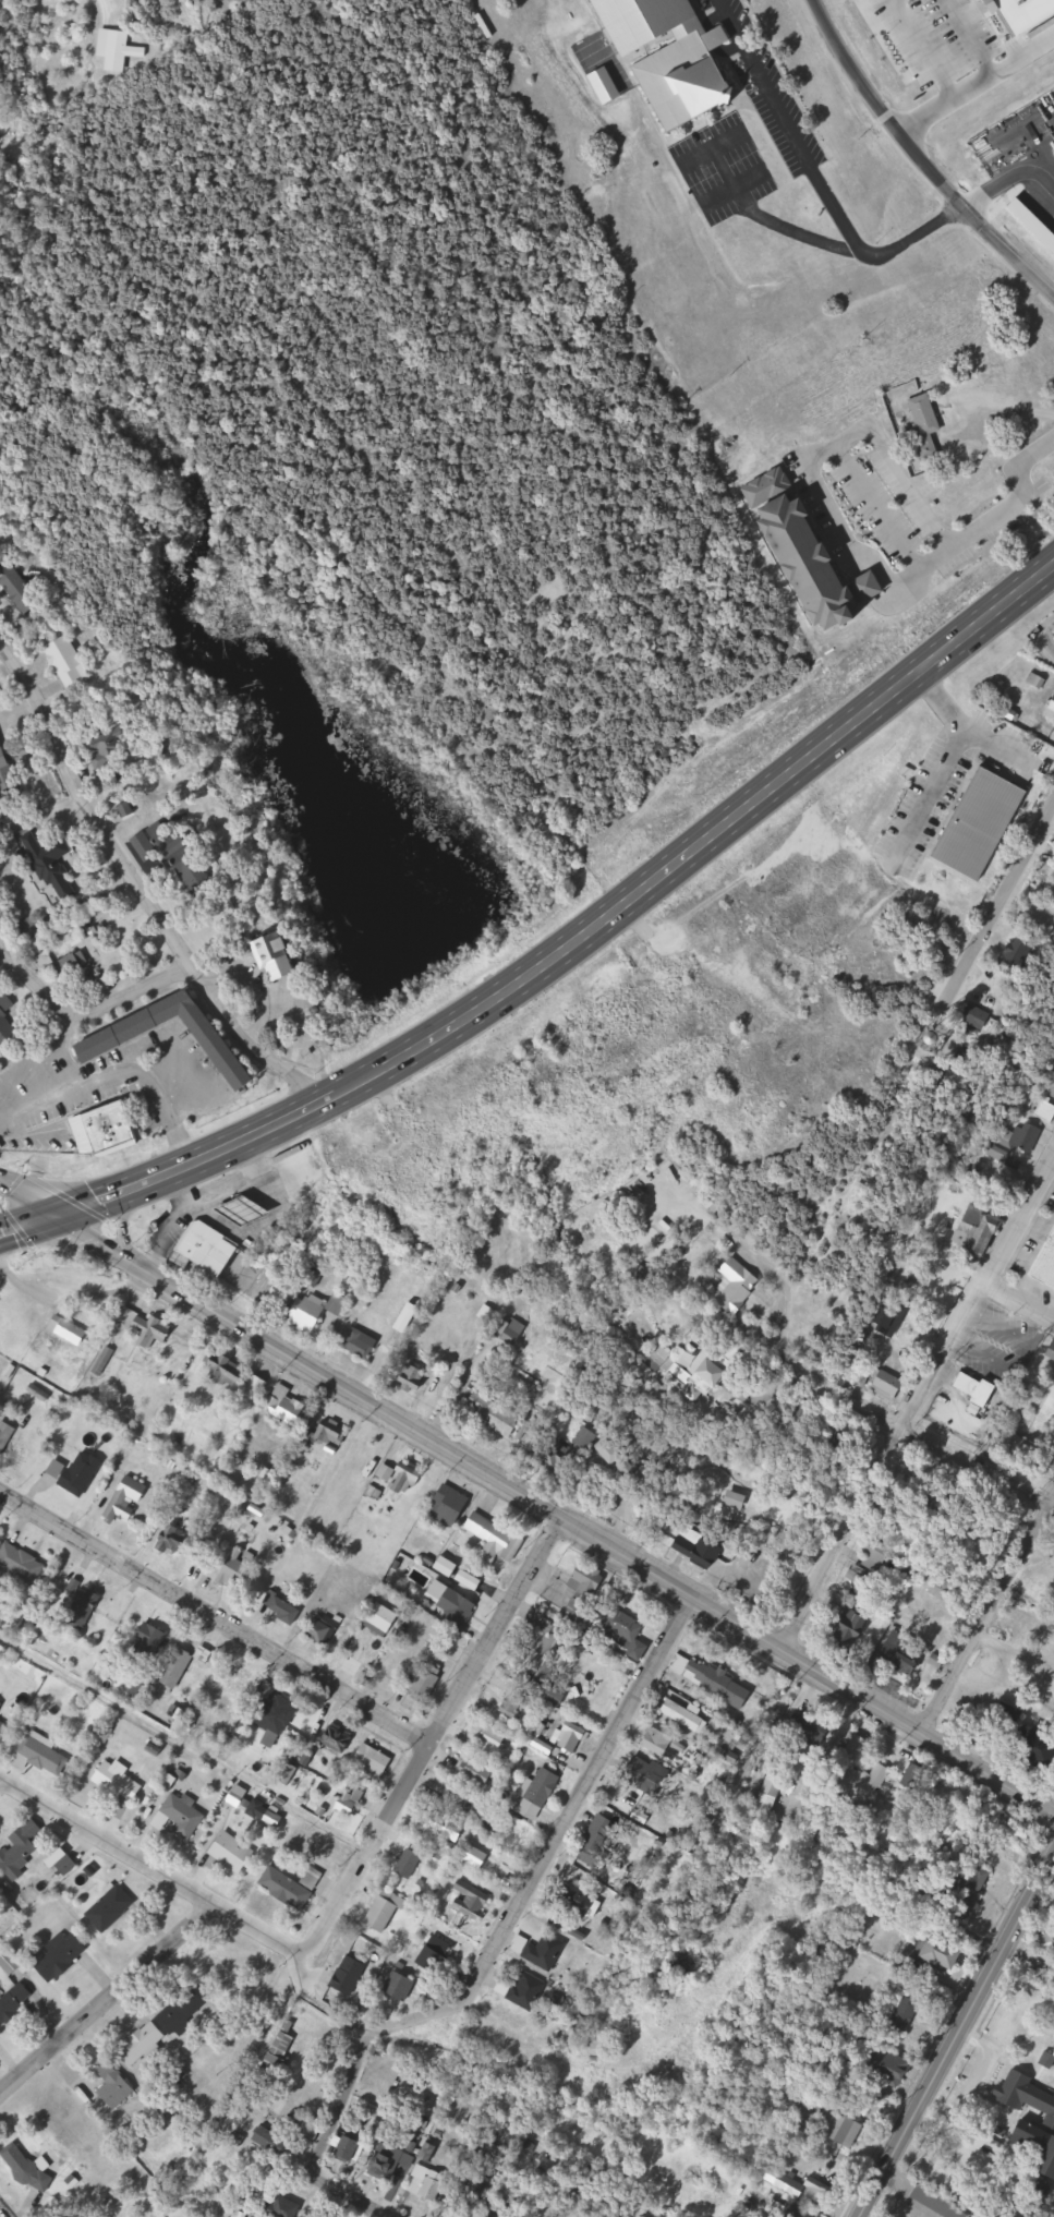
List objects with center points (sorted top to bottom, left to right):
road: (97, 5)
building: (1021, 14)
building: (576, 43)
building: (117, 49)
building: (674, 56)
road: (923, 156)
building: (926, 423)
building: (800, 555)
building: (22, 590)
building: (71, 663)
building: (1053, 708)
building: (113, 747)
building: (7, 759)
road: (820, 763)
building: (983, 823)
building: (174, 858)
building: (58, 870)
road: (146, 885)
road: (1005, 901)
building: (1026, 953)
building: (278, 959)
building: (76, 966)
road: (86, 1017)
building: (985, 1017)
building: (8, 1022)
building: (135, 1029)
building: (1047, 1111)
road: (304, 1118)
building: (114, 1131)
building: (1025, 1136)
road: (28, 1200)
building: (239, 1215)
gas station: (239, 1215)
traffic signals: (57, 1217)
road: (123, 1222)
building: (972, 1224)
building: (199, 1251)
building: (1047, 1267)
building: (738, 1287)
road: (1022, 1290)
building: (935, 1292)
road: (978, 1293)
building: (316, 1310)
building: (70, 1332)
building: (512, 1332)
building: (154, 1333)
building: (1020, 1337)
building: (363, 1345)
building: (654, 1364)
building: (1050, 1366)
building: (230, 1373)
building: (701, 1376)
building: (891, 1386)
building: (257, 1387)
road: (455, 1389)
building: (979, 1389)
building: (289, 1406)
building: (493, 1417)
building: (332, 1435)
road: (906, 1435)
building: (7, 1436)
building: (594, 1444)
building: (359, 1450)
building: (1019, 1453)
building: (76, 1474)
building: (638, 1474)
building: (405, 1479)
building: (126, 1501)
building: (739, 1501)
building: (450, 1506)
road: (555, 1513)
building: (497, 1538)
building: (174, 1541)
road: (844, 1542)
building: (700, 1547)
building: (204, 1550)
building: (22, 1566)
building: (234, 1575)
building: (586, 1581)
building: (867, 1582)
building: (86, 1603)
building: (457, 1607)
building: (283, 1608)
road: (216, 1612)
building: (576, 1612)
road: (992, 1615)
building: (383, 1620)
building: (848, 1622)
building: (623, 1629)
building: (320, 1630)
building: (149, 1643)
building: (552, 1646)
building: (900, 1656)
building: (179, 1668)
building: (426, 1682)
building: (720, 1684)
building: (550, 1692)
building: (1, 1706)
building: (513, 1707)
building: (272, 1711)
building: (689, 1715)
building: (812, 1726)
building: (4, 1731)
road: (432, 1735)
building: (338, 1739)
building: (572, 1739)
building: (493, 1744)
building: (665, 1745)
building: (859, 1748)
building: (1052, 1749)
building: (45, 1757)
building: (374, 1760)
building: (476, 1773)
building: (649, 1774)
building: (861, 1780)
building: (120, 1782)
road: (2, 1784)
building: (543, 1787)
building: (462, 1796)
building: (350, 1800)
building: (182, 1817)
building: (603, 1831)
road: (555, 1845)
building: (22, 1849)
building: (234, 1854)
building: (65, 1863)
building: (410, 1863)
road: (150, 1865)
building: (292, 1887)
building: (970, 1892)
building: (473, 1893)
building: (583, 1901)
building: (111, 1908)
building: (386, 1911)
building: (1050, 1943)
building: (543, 1951)
building: (947, 1954)
building: (62, 1955)
building: (436, 1956)
building: (351, 1976)
building: (404, 1989)
building: (524, 1990)
road: (109, 2000)
road: (318, 2002)
building: (14, 2003)
building: (184, 2010)
building: (582, 2021)
road: (961, 2038)
building: (143, 2044)
building: (284, 2045)
building: (886, 2064)
building: (114, 2085)
building: (1027, 2095)
building: (844, 2128)
building: (1038, 2135)
building: (163, 2136)
building: (272, 2141)
building: (349, 2147)
road: (327, 2148)
building: (386, 2162)
building: (27, 2168)
building: (434, 2184)
building: (820, 2191)
building: (940, 2202)
building: (286, 2207)
building: (501, 2209)
road: (3, 2213)

